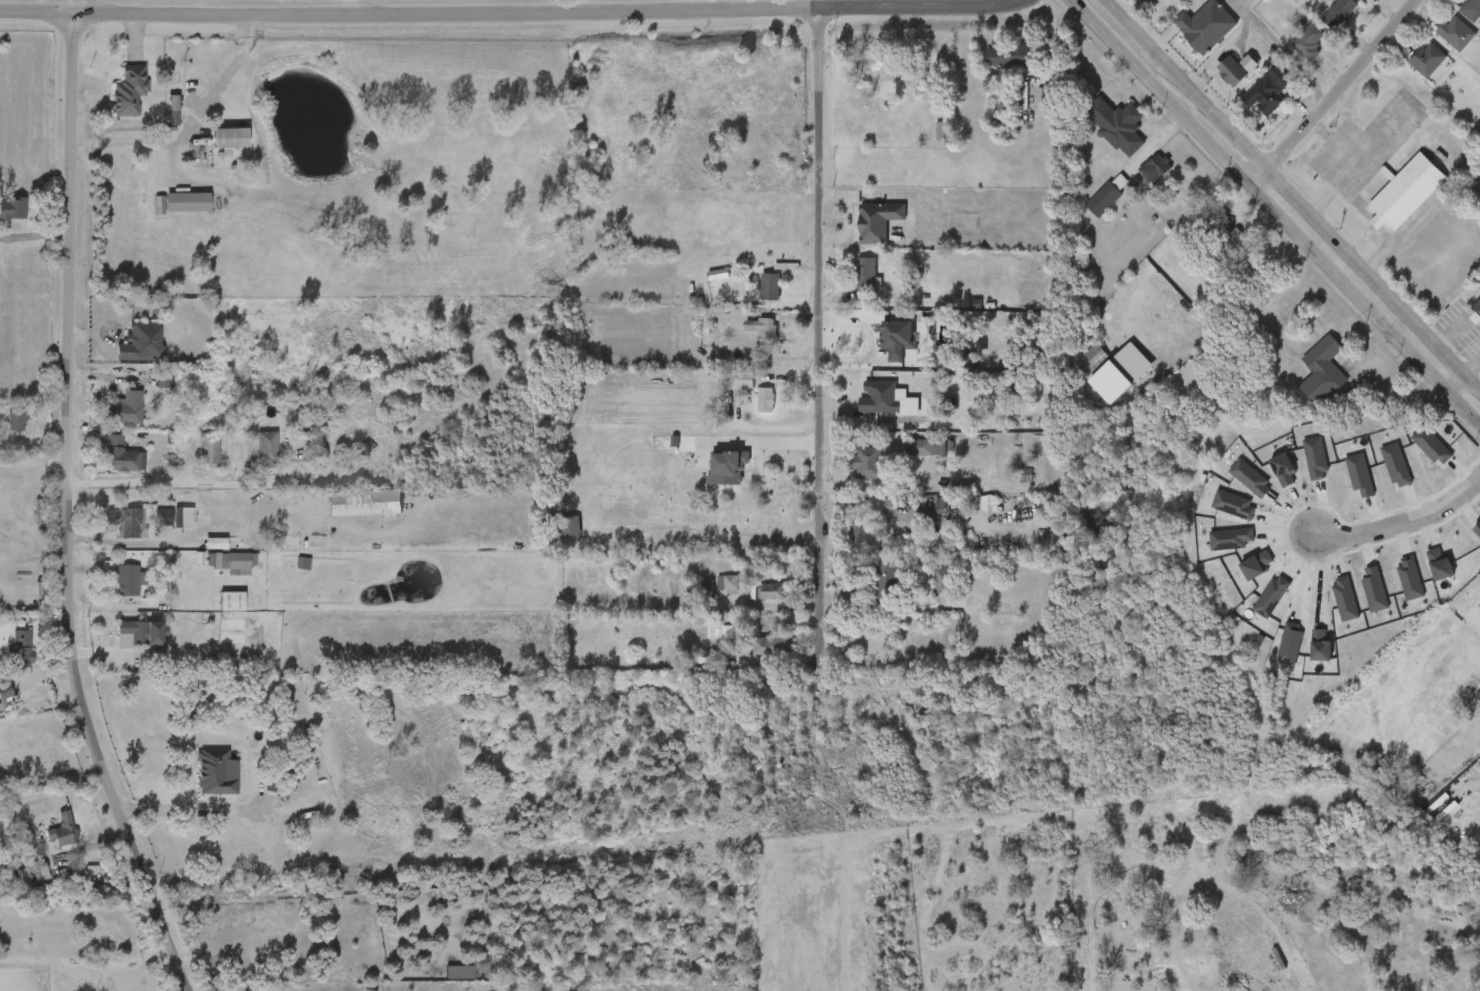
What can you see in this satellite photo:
building: (1363, 0)
road: (68, 5)
road: (919, 8)
building: (1472, 9)
road: (34, 10)
building: (1340, 13)
road: (439, 14)
building: (1322, 22)
building: (1207, 25)
building: (1457, 33)
building: (1188, 35)
building: (1310, 42)
building: (1438, 43)
road: (1285, 48)
building: (1291, 51)
building: (1010, 56)
building: (1429, 59)
building: (991, 65)
building: (1410, 69)
building: (1233, 71)
building: (1214, 81)
building: (133, 90)
building: (1270, 91)
road: (1329, 95)
building: (113, 99)
building: (1251, 100)
building: (158, 114)
building: (1119, 125)
road: (191, 127)
building: (1101, 135)
building: (229, 137)
building: (213, 146)
building: (1157, 167)
building: (1138, 178)
building: (1404, 191)
building: (1108, 196)
road: (1286, 199)
building: (187, 202)
building: (1090, 205)
building: (14, 207)
building: (171, 211)
road: (1272, 217)
building: (879, 221)
building: (861, 231)
building: (1226, 233)
road: (26, 235)
road: (62, 236)
building: (1217, 248)
building: (1259, 265)
building: (710, 272)
building: (867, 274)
building: (849, 282)
building: (771, 287)
building: (753, 296)
building: (980, 300)
building: (1477, 314)
road: (814, 323)
building: (152, 329)
building: (764, 329)
building: (745, 339)
building: (881, 348)
building: (127, 350)
building: (1093, 360)
building: (1074, 370)
building: (1324, 371)
building: (741, 379)
building: (1305, 380)
road: (1450, 386)
building: (723, 389)
building: (1018, 390)
road: (1394, 394)
building: (880, 398)
building: (766, 400)
building: (862, 406)
building: (128, 408)
building: (748, 409)
building: (108, 418)
building: (13, 420)
road: (764, 441)
building: (928, 447)
building: (209, 449)
building: (266, 449)
building: (121, 455)
building: (1414, 455)
building: (909, 457)
building: (192, 458)
building: (250, 459)
building: (867, 461)
building: (106, 465)
building: (1297, 468)
building: (850, 472)
building: (1378, 474)
building: (711, 477)
building: (1266, 479)
road: (193, 483)
building: (1342, 484)
building: (1232, 488)
building: (895, 502)
building: (950, 504)
road: (70, 510)
building: (924, 514)
building: (1216, 514)
road: (1399, 517)
building: (130, 521)
building: (148, 526)
building: (163, 526)
building: (114, 531)
road: (701, 532)
building: (865, 534)
building: (553, 535)
road: (131, 541)
building: (1469, 542)
building: (843, 544)
building: (1213, 548)
building: (199, 552)
building: (233, 561)
building: (218, 571)
building: (1239, 574)
building: (1422, 574)
building: (91, 576)
building: (125, 576)
road: (1320, 578)
building: (940, 584)
building: (885, 585)
building: (1392, 587)
building: (113, 589)
building: (774, 591)
building: (710, 592)
building: (924, 592)
building: (1474, 592)
building: (869, 595)
building: (1356, 599)
building: (231, 600)
building: (755, 600)
building: (1254, 605)
building: (1327, 607)
building: (215, 610)
building: (247, 625)
building: (721, 630)
building: (137, 633)
building: (231, 638)
building: (702, 640)
building: (771, 646)
building: (19, 652)
building: (1272, 653)
building: (1303, 655)
building: (752, 656)
building: (7, 660)
building: (7, 695)
building: (214, 771)
building: (200, 781)
road: (170, 809)
building: (64, 831)
building: (47, 839)
building: (23, 880)
road: (87, 961)
building: (442, 980)

